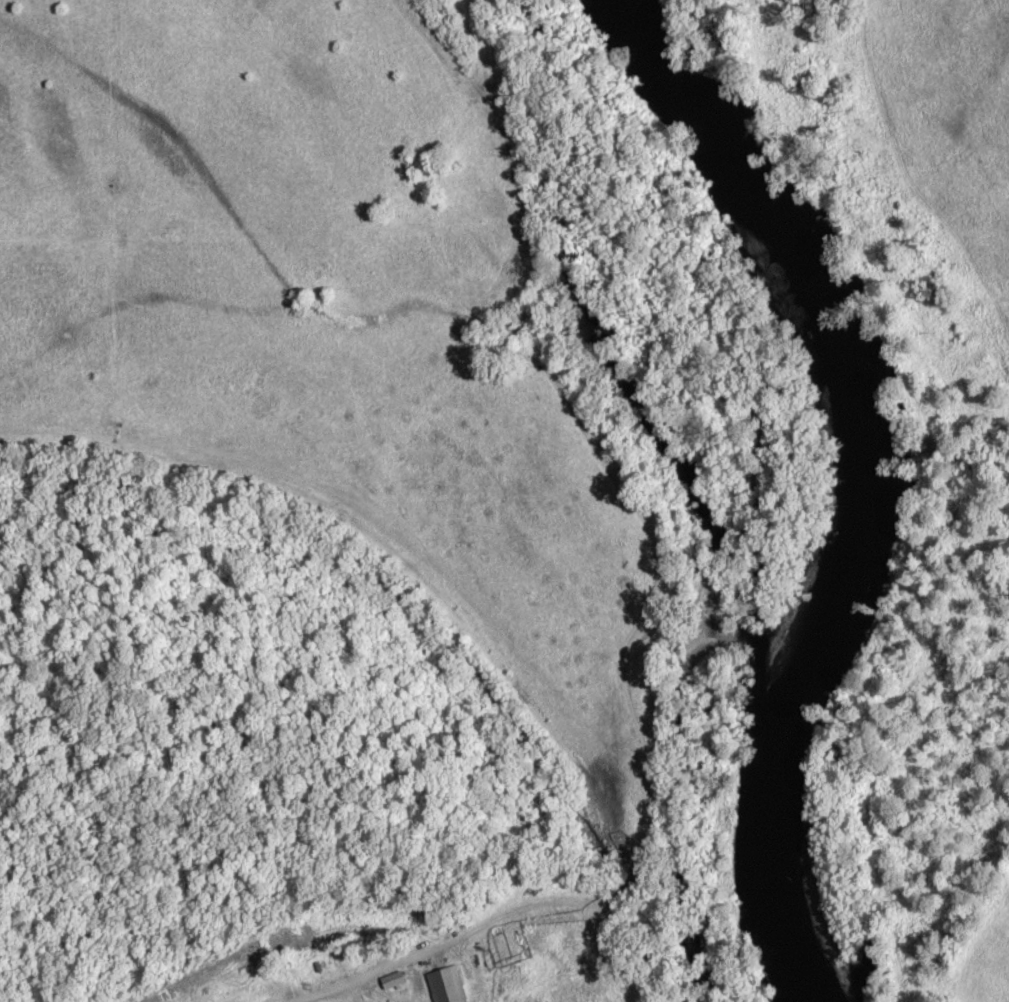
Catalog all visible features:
river: (878, 470)
building: (443, 985)
road: (323, 988)

